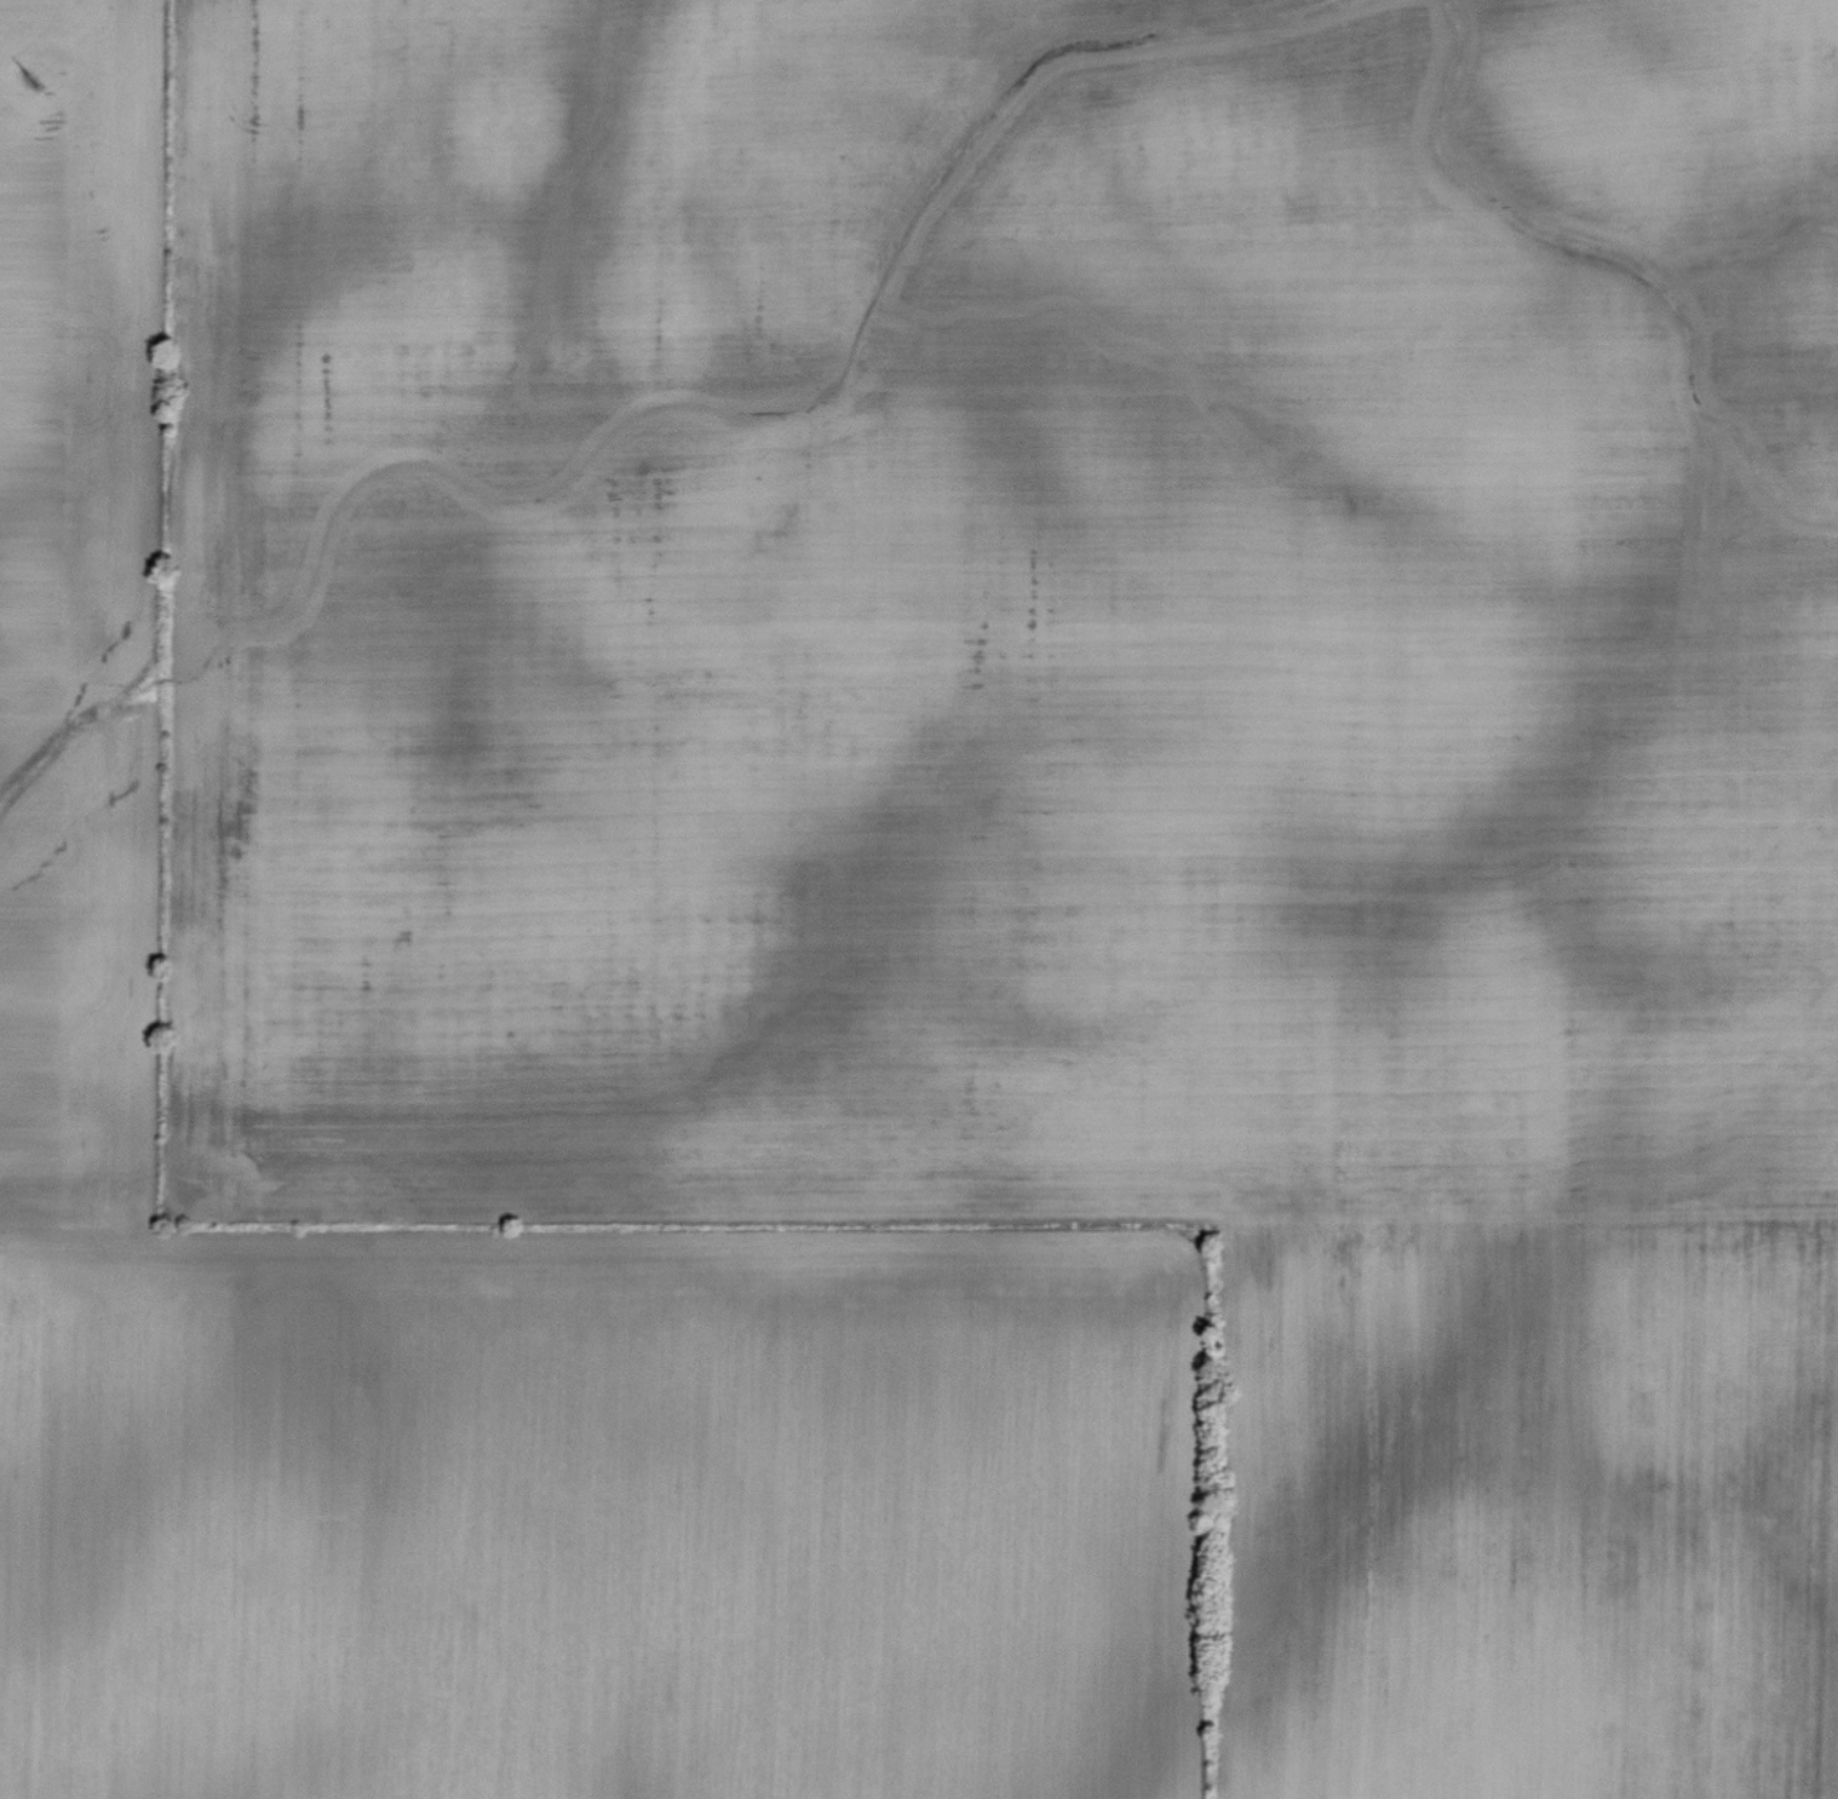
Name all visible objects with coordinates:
power tower: (31, 81)

